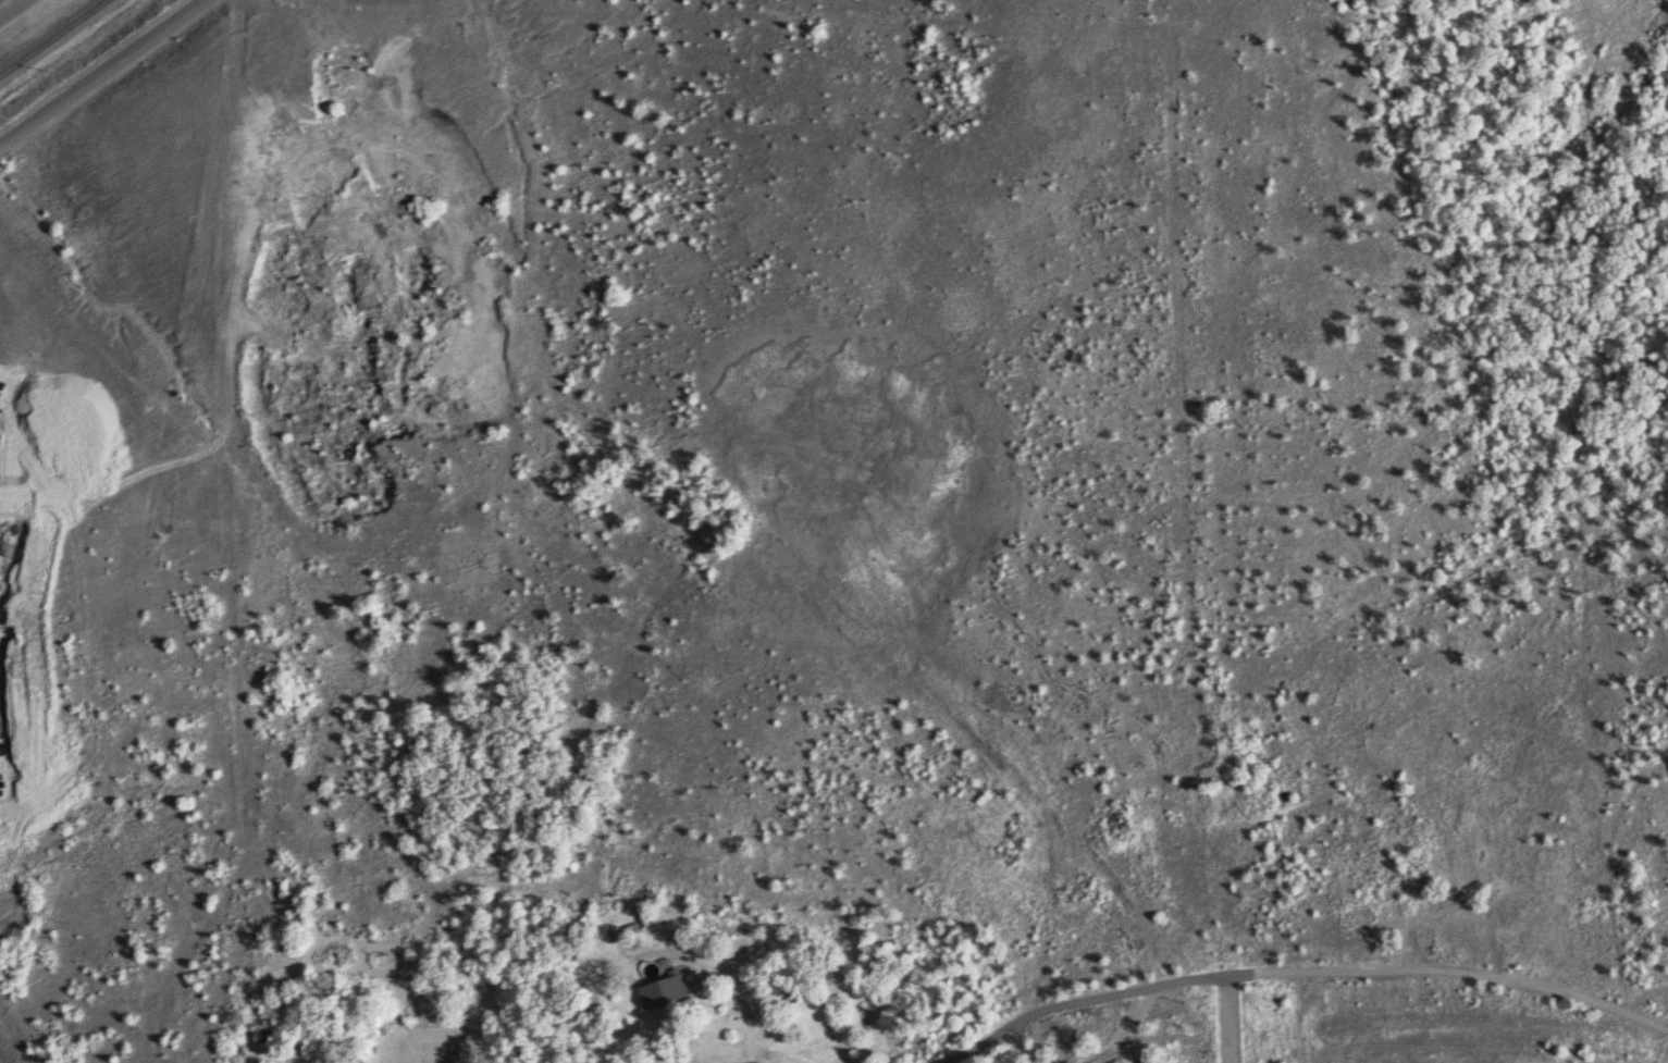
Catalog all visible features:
road: (11, 8)
railway: (51, 37)
road: (104, 72)
road: (1289, 967)
road: (1223, 1018)

